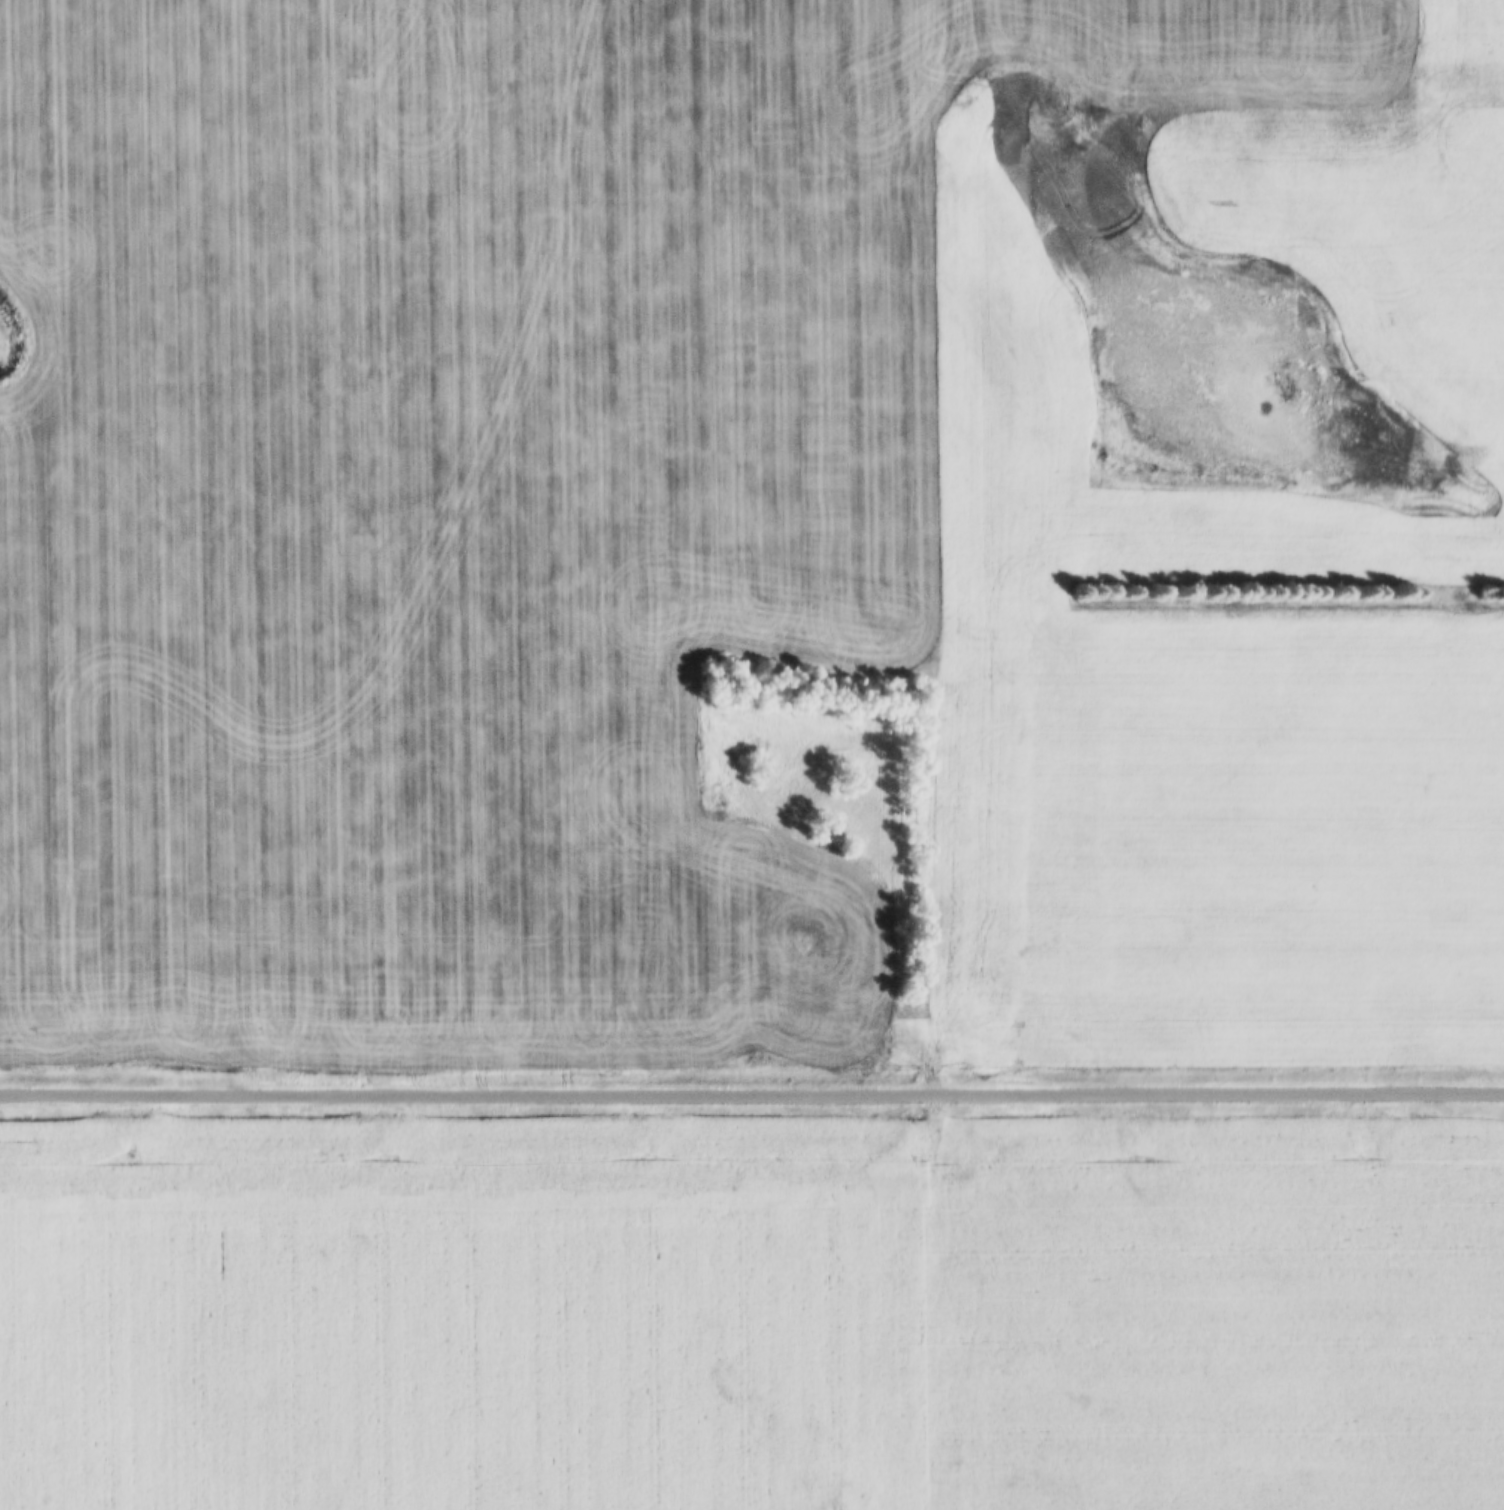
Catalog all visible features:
road: (751, 1088)

